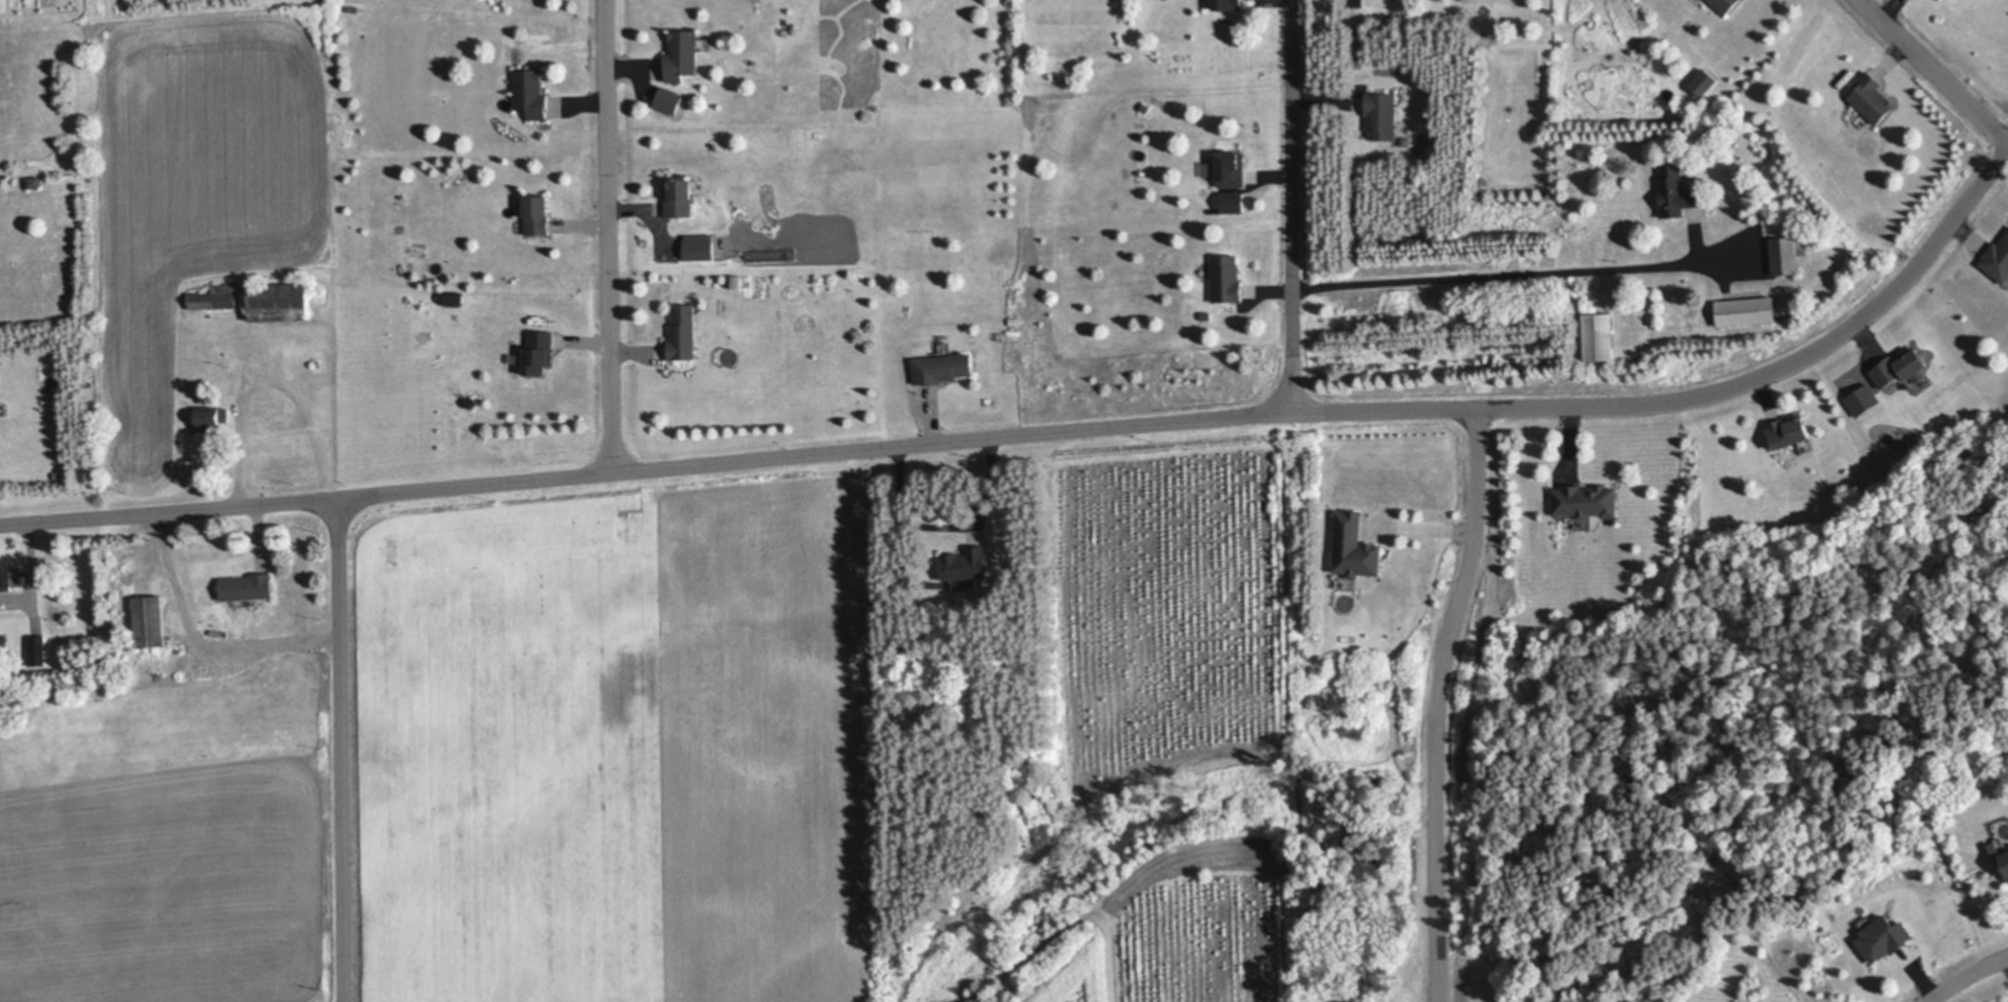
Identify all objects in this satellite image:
building: (1943, 0)
building: (1227, 4)
building: (1723, 5)
building: (1358, 29)
building: (683, 54)
building: (1360, 61)
road: (1933, 70)
building: (1705, 83)
building: (531, 92)
building: (1870, 97)
building: (669, 99)
building: (1145, 107)
building: (1382, 115)
building: (1231, 168)
building: (34, 181)
building: (1676, 190)
building: (679, 196)
building: (699, 197)
building: (1233, 202)
road: (1291, 205)
building: (537, 214)
road: (608, 236)
building: (701, 248)
building: (1787, 253)
building: (1997, 260)
road: (1509, 275)
building: (1226, 279)
building: (215, 297)
building: (457, 301)
building: (279, 302)
building: (411, 303)
building: (1746, 311)
building: (1206, 315)
building: (1013, 320)
building: (684, 333)
building: (1599, 335)
building: (539, 352)
building: (1899, 367)
building: (943, 368)
building: (1866, 402)
building: (211, 418)
road: (1050, 431)
building: (1789, 431)
building: (1584, 500)
building: (1355, 547)
building: (966, 564)
building: (10, 577)
building: (248, 586)
building: (150, 620)
road: (203, 639)
building: (3, 642)
building: (37, 649)
road: (1436, 702)
road: (341, 750)
crop: (615, 750)
building: (1994, 849)
building: (2004, 864)
building: (1883, 940)
road: (1964, 974)

